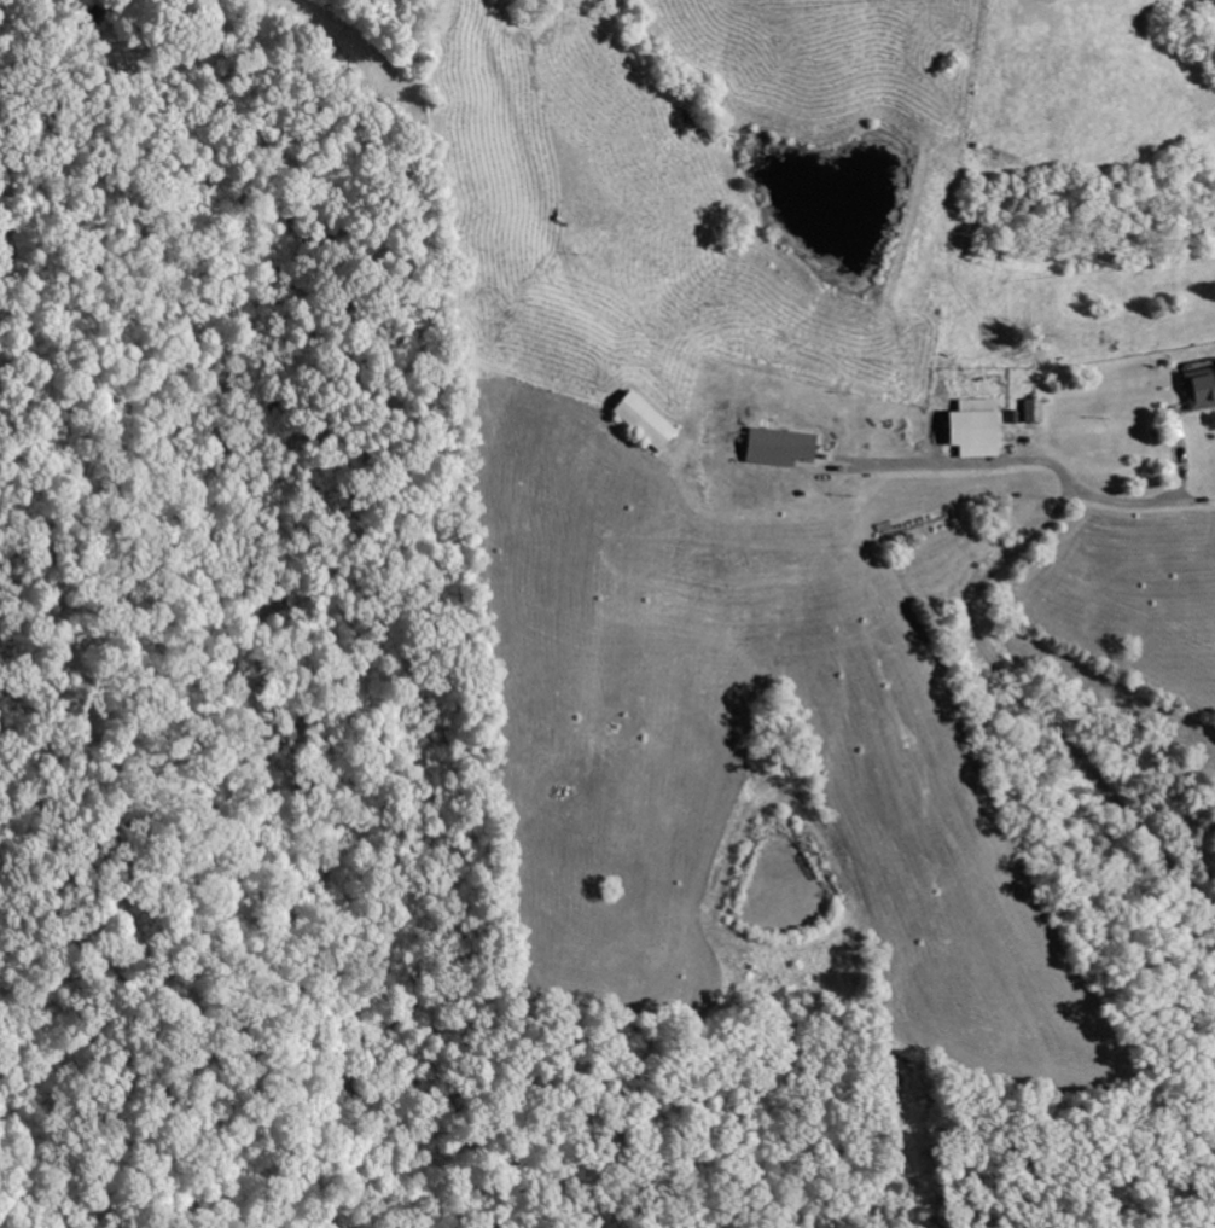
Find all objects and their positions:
building: (1194, 385)
building: (1022, 408)
building: (636, 419)
building: (967, 426)
building: (771, 446)
road: (1153, 500)
road: (972, 609)

